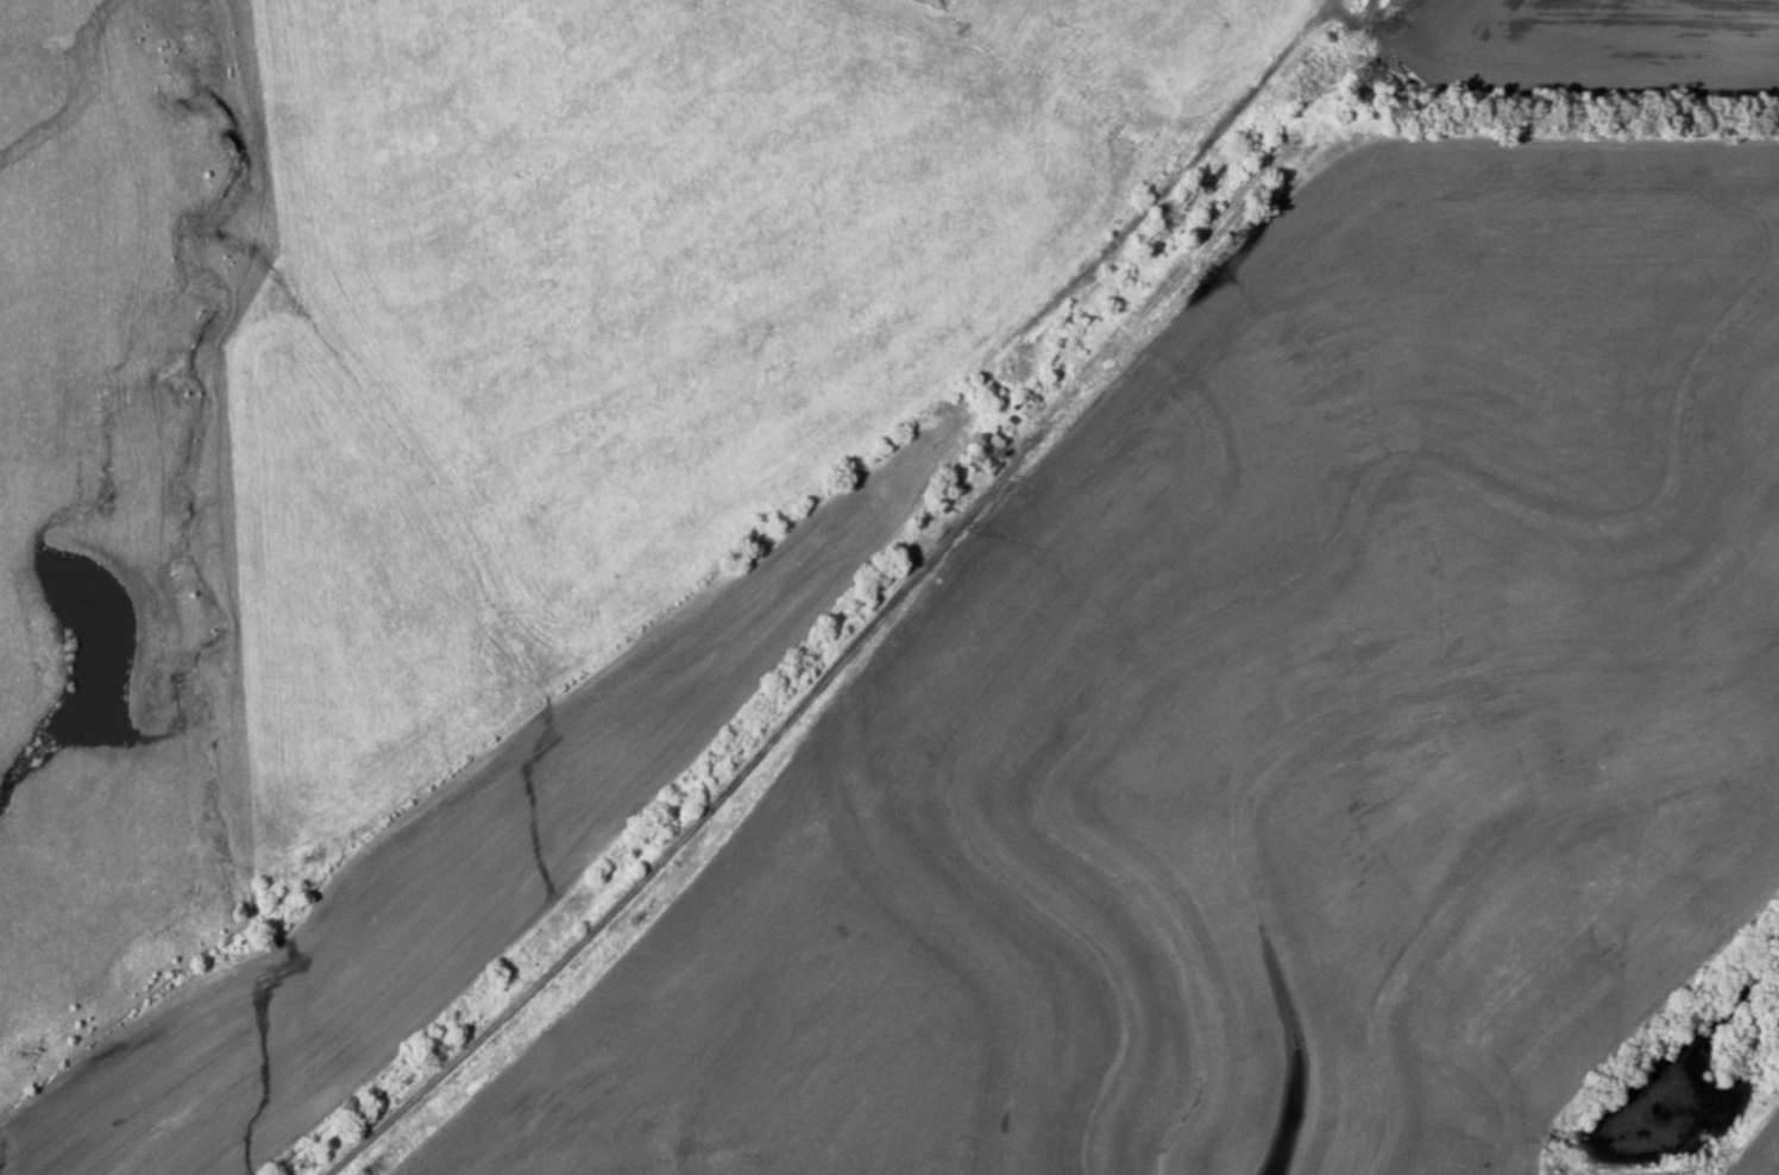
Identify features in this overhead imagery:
crop: (1585, 56)
crop: (457, 874)

